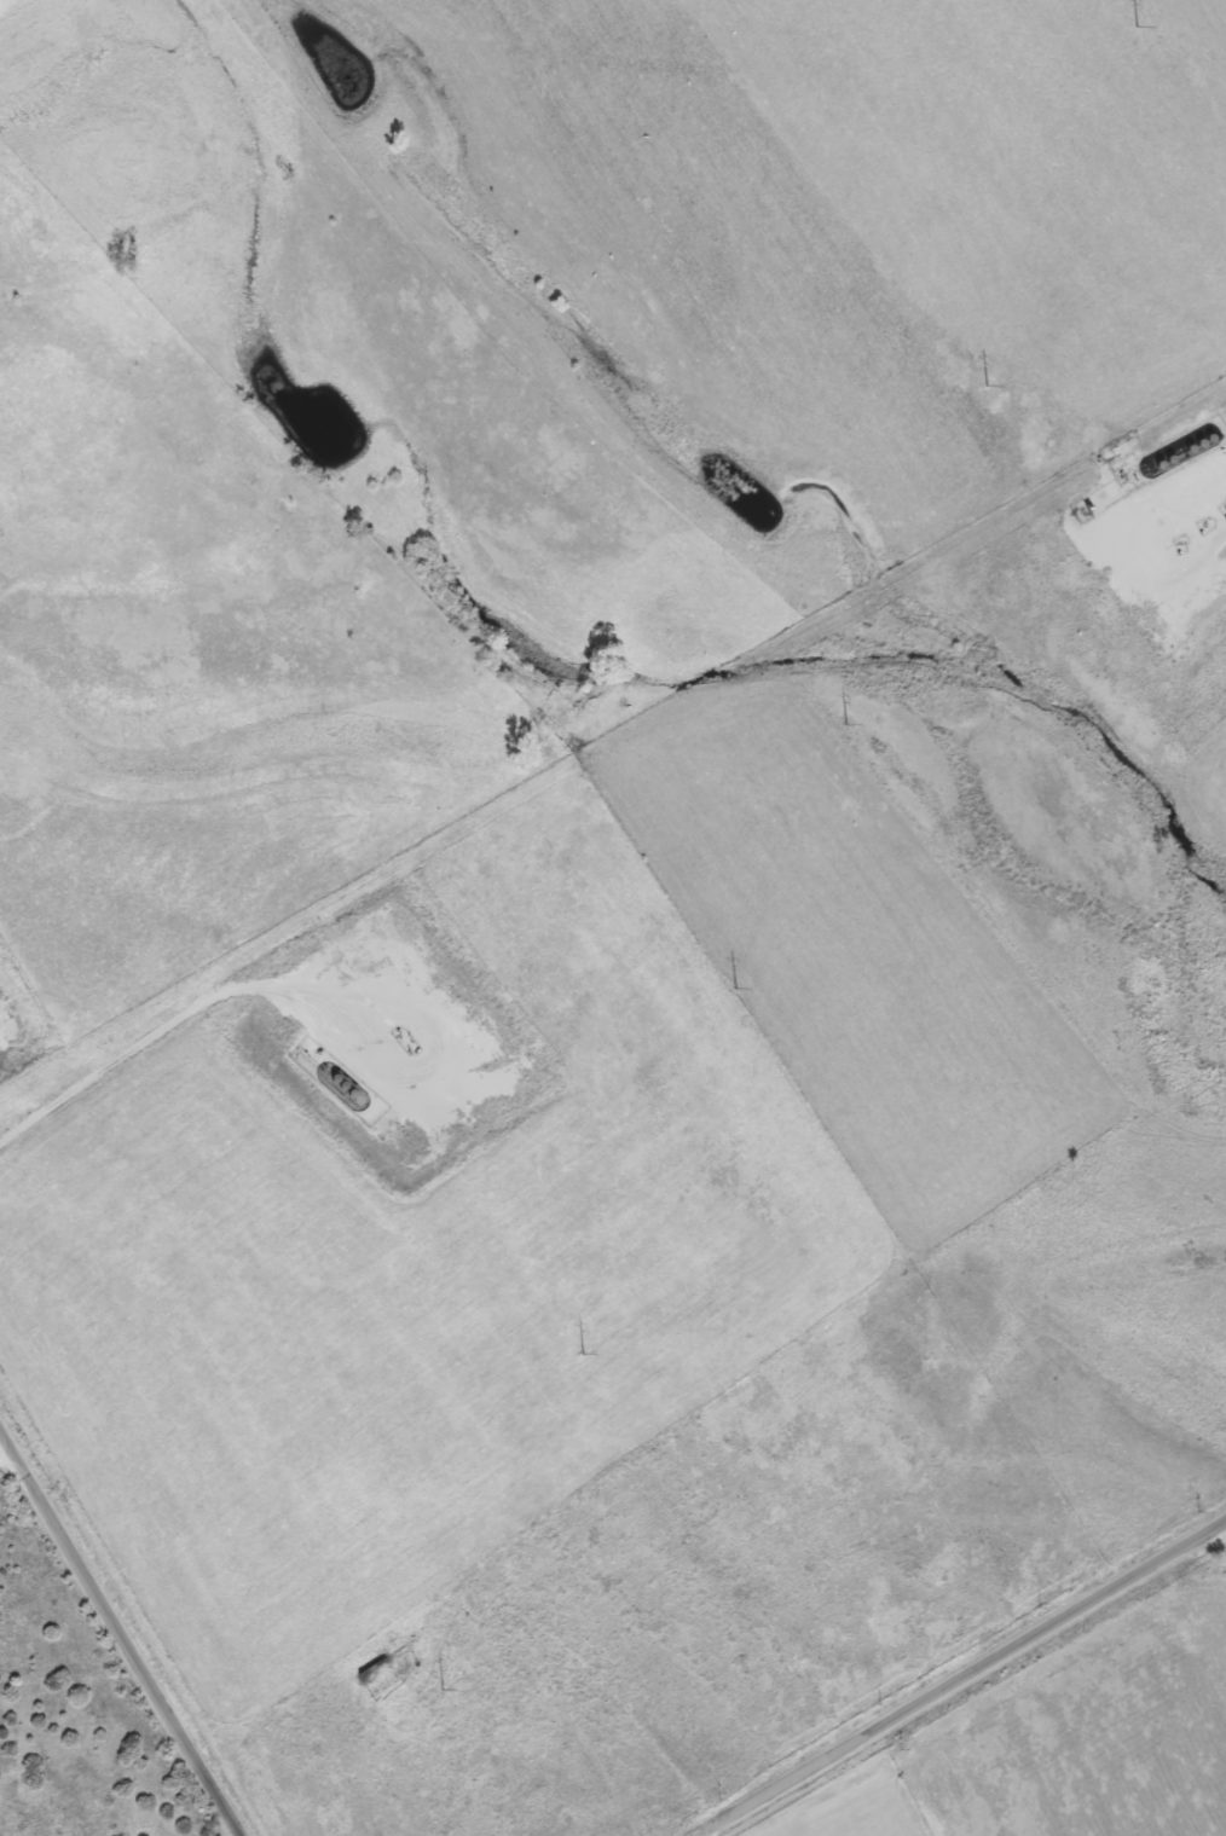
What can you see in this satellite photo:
road: (6, 1452)
road: (1221, 1540)
road: (121, 1631)
road: (964, 1681)

